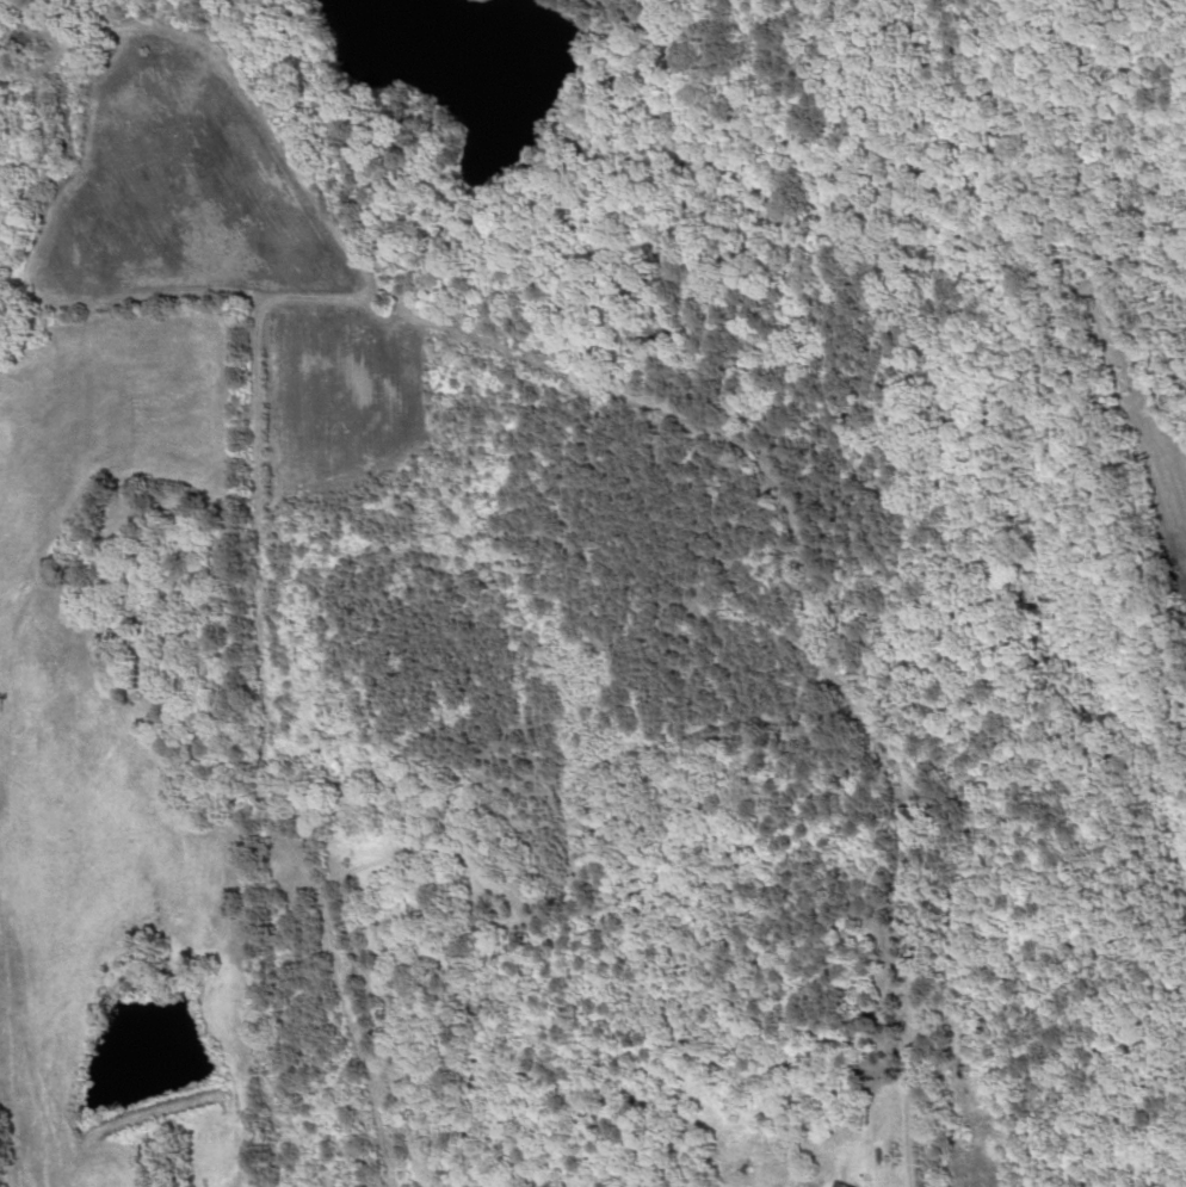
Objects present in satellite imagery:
building: (839, 1185)

